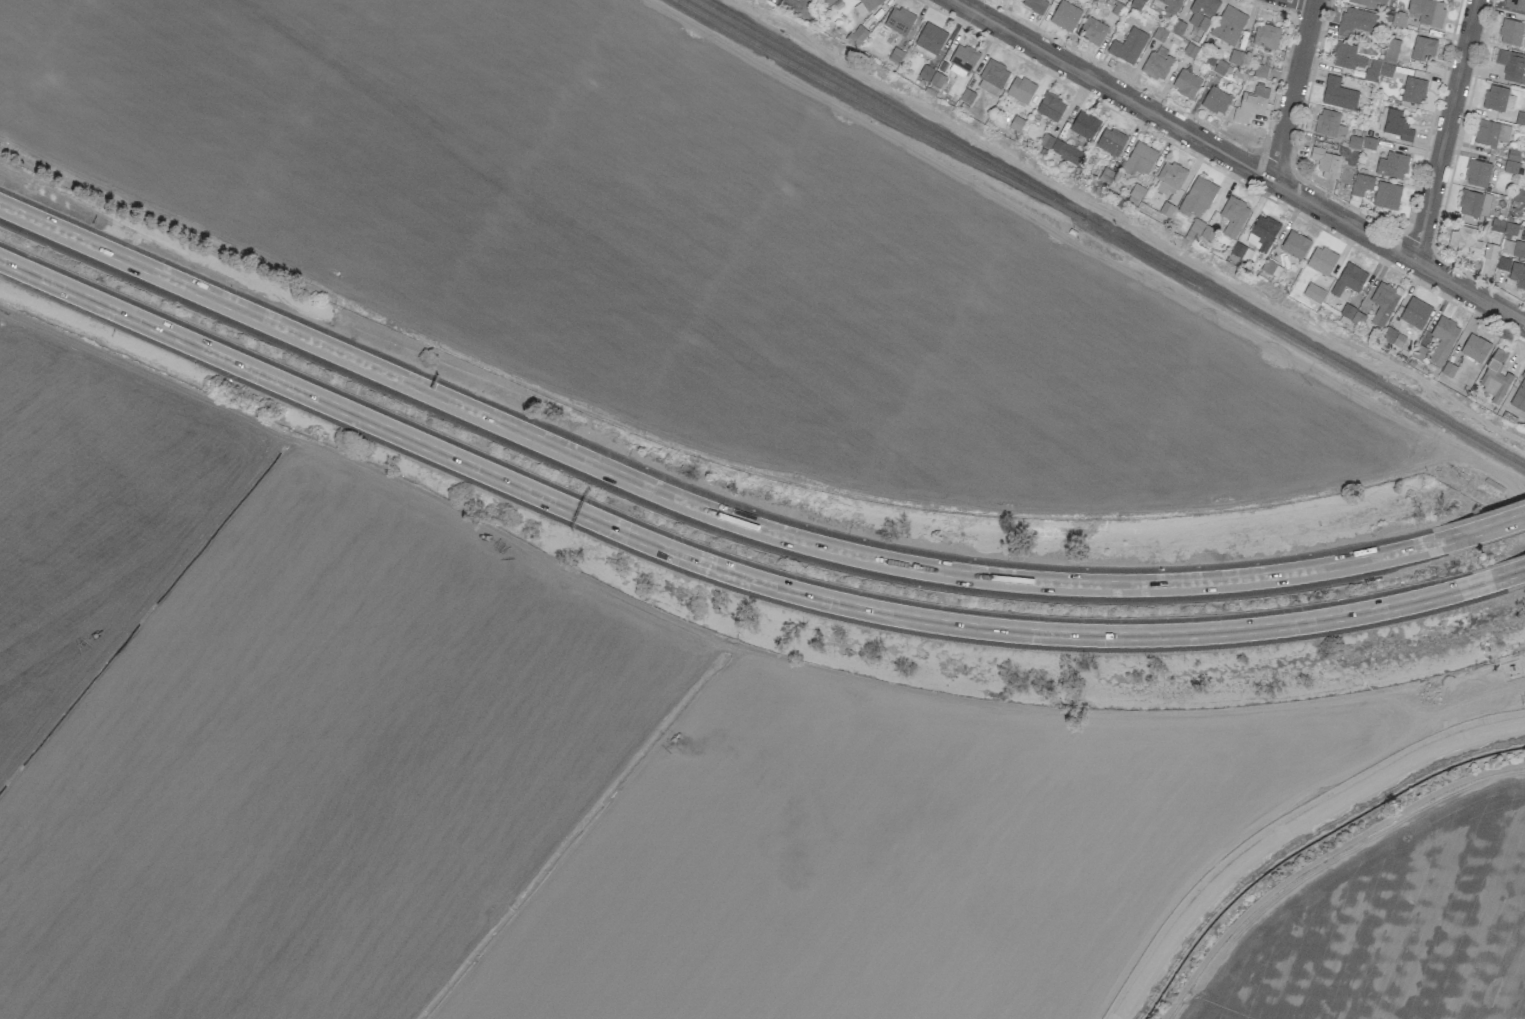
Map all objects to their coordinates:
road: (1310, 1)
building: (870, 3)
building: (1369, 3)
building: (1035, 4)
building: (1168, 5)
building: (859, 9)
building: (1427, 11)
building: (1202, 12)
building: (1065, 16)
building: (1399, 19)
building: (899, 20)
building: (1355, 21)
building: (1228, 25)
building: (1177, 26)
building: (1092, 30)
building: (1511, 32)
building: (1159, 34)
building: (856, 35)
building: (1266, 36)
building: (930, 38)
building: (1128, 46)
building: (1422, 48)
building: (1190, 50)
building: (1391, 50)
building: (895, 55)
building: (1346, 56)
building: (963, 57)
building: (1235, 57)
building: (1156, 65)
building: (1512, 65)
building: (1220, 67)
building: (1377, 70)
building: (1260, 71)
building: (925, 72)
building: (992, 77)
building: (936, 79)
building: (1186, 83)
building: (1020, 89)
road: (1292, 90)
building: (1413, 90)
building: (1338, 94)
building: (967, 96)
building: (1497, 98)
building: (1216, 100)
railway: (881, 102)
building: (1251, 103)
railway: (867, 105)
building: (1050, 107)
building: (1520, 118)
building: (1016, 123)
building: (1329, 123)
building: (1084, 125)
building: (1396, 125)
road: (1445, 131)
building: (1491, 133)
building: (1110, 141)
building: (1369, 143)
building: (1060, 149)
building: (1139, 159)
building: (1512, 160)
road: (1238, 162)
building: (1325, 162)
building: (1392, 165)
building: (1477, 173)
building: (1169, 178)
building: (1361, 184)
building: (1136, 192)
building: (1386, 195)
building: (1519, 196)
building: (1197, 197)
building: (1471, 203)
building: (1165, 209)
building: (1233, 216)
building: (1201, 230)
building: (1261, 234)
building: (1464, 241)
building: (1295, 245)
building: (1518, 249)
crop: (666, 250)
building: (1241, 251)
building: (1490, 251)
building: (1321, 260)
building: (1503, 263)
building: (1271, 268)
building: (1517, 274)
building: (1349, 279)
building: (1313, 292)
building: (1383, 303)
building: (1415, 312)
building: (1352, 316)
railway: (1293, 335)
building: (1393, 337)
building: (1443, 339)
building: (1475, 348)
building: (1419, 352)
building: (1448, 369)
building: (1496, 376)
building: (1519, 395)
road: (694, 507)
road: (1481, 530)
road: (708, 557)
road: (1494, 575)
crop: (626, 785)
road: (1319, 858)
road: (1328, 867)
road: (1447, 867)
road: (1219, 1007)

